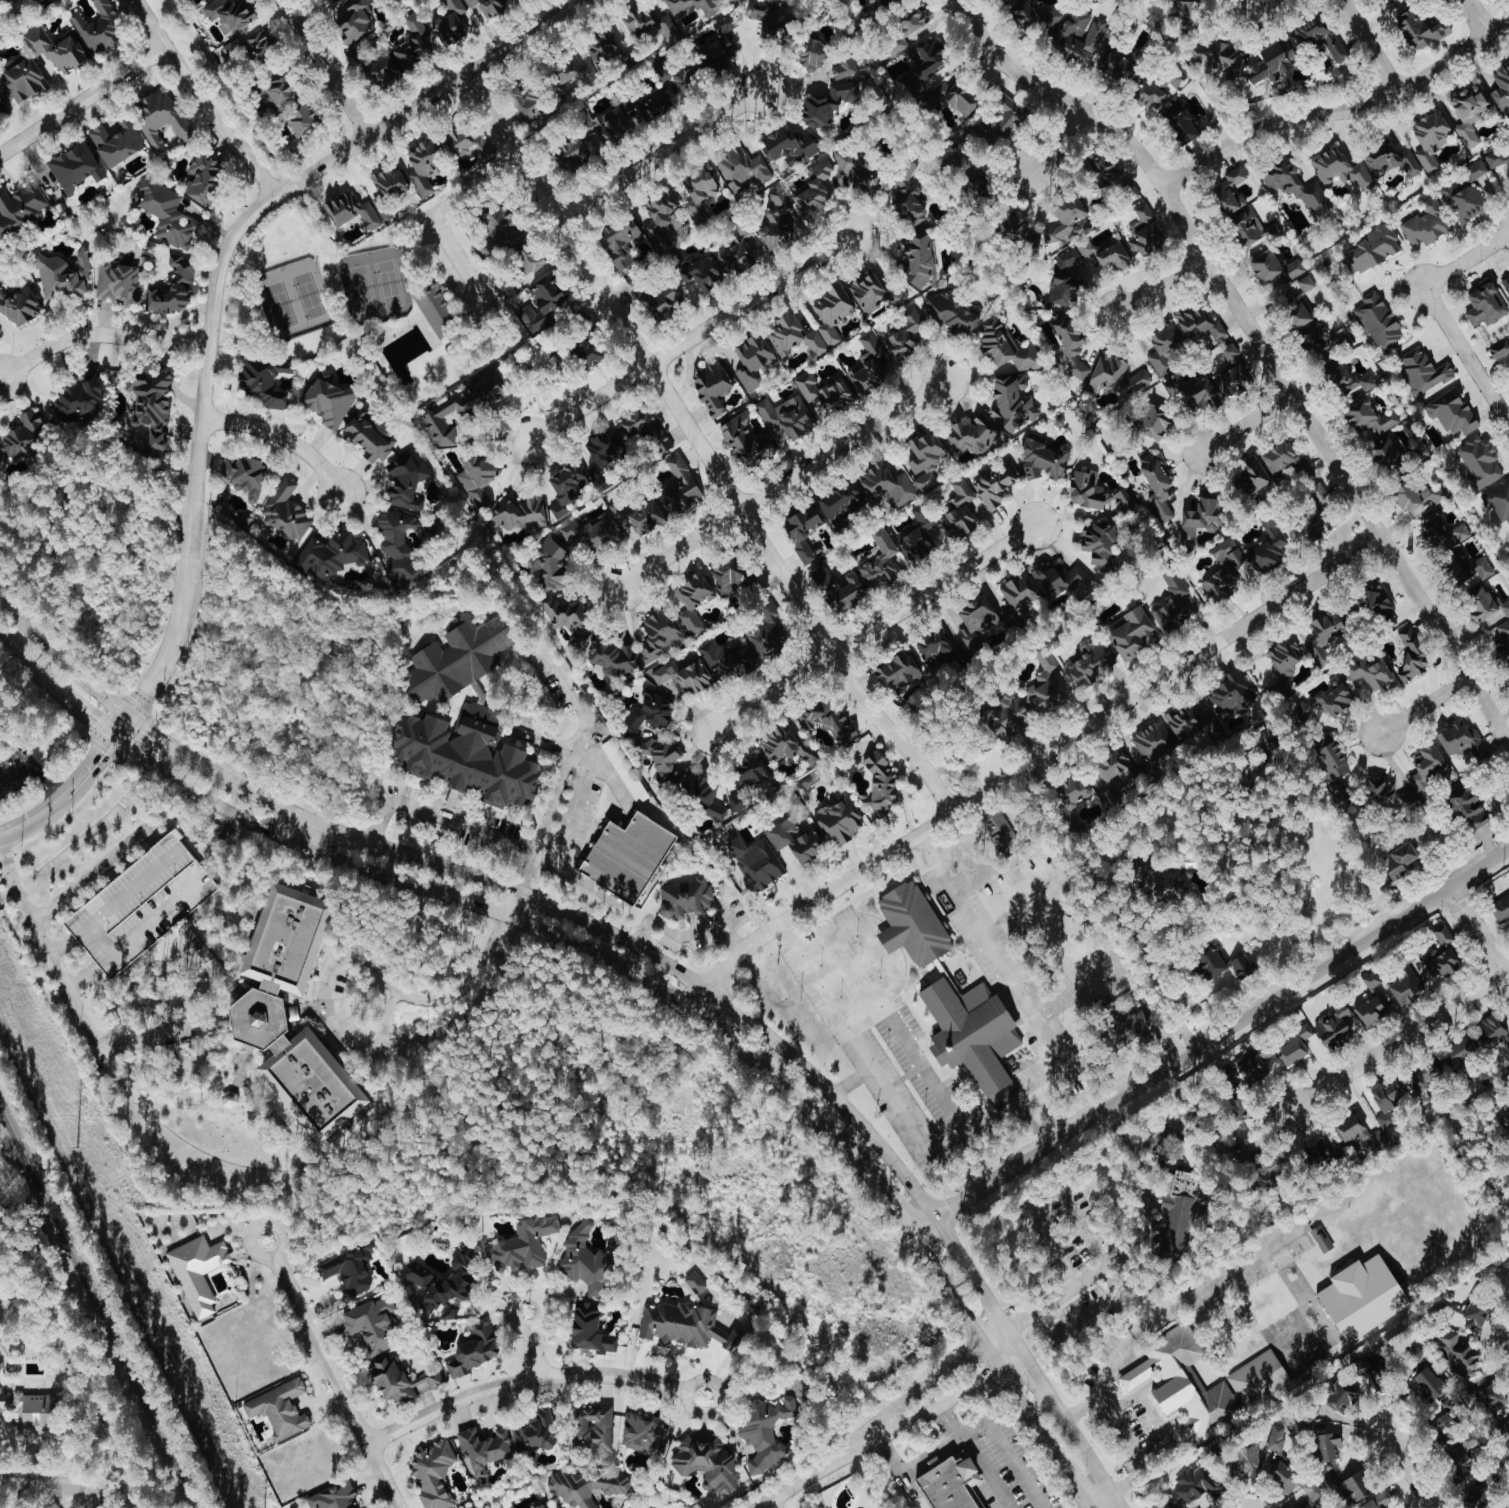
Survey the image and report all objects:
building: (324, 0)
building: (334, 0)
building: (341, 0)
building: (197, 1)
building: (1399, 1)
building: (7, 2)
road: (1257, 2)
building: (488, 6)
building: (882, 7)
building: (707, 8)
building: (229, 14)
building: (1036, 15)
road: (1477, 18)
building: (915, 19)
building: (353, 20)
building: (638, 21)
building: (773, 21)
building: (451, 23)
building: (99, 28)
building: (1420, 29)
building: (1080, 33)
building: (1321, 37)
building: (411, 43)
building: (721, 43)
building: (901, 44)
building: (602, 45)
road: (1372, 46)
building: (55, 48)
building: (249, 49)
building: (813, 55)
building: (1219, 58)
building: (356, 61)
building: (1275, 61)
building: (1118, 66)
road: (323, 68)
building: (844, 69)
building: (384, 70)
building: (567, 71)
building: (688, 78)
building: (21, 80)
building: (282, 87)
building: (1151, 95)
building: (955, 96)
road: (428, 97)
road: (82, 100)
road: (200, 100)
building: (529, 103)
building: (828, 104)
building: (1, 108)
road: (1337, 110)
building: (1470, 113)
building: (160, 117)
building: (303, 121)
building: (1182, 122)
building: (1000, 124)
building: (609, 128)
building: (1430, 139)
building: (116, 143)
building: (466, 144)
road: (1060, 144)
building: (788, 147)
building: (572, 151)
road: (660, 152)
building: (1389, 159)
building: (1497, 160)
building: (423, 165)
building: (73, 167)
building: (740, 169)
building: (857, 170)
building: (1340, 170)
building: (1473, 171)
building: (1108, 175)
building: (970, 176)
building: (204, 179)
road: (476, 180)
building: (389, 183)
building: (1296, 186)
building: (816, 188)
building: (1230, 189)
building: (699, 191)
building: (907, 197)
building: (1463, 202)
building: (20, 208)
building: (351, 212)
building: (166, 213)
building: (662, 217)
building: (1065, 220)
building: (777, 222)
building: (502, 223)
building: (1426, 225)
building: (1014, 227)
building: (1251, 228)
building: (1146, 230)
building: (622, 240)
building: (1372, 250)
building: (1106, 253)
building: (738, 254)
building: (528, 257)
building: (920, 258)
parking lot: (452, 266)
building: (1275, 268)
building: (706, 273)
building: (63, 277)
building: (1064, 282)
park: (389, 283)
road: (1161, 284)
building: (1505, 284)
building: (173, 288)
park: (361, 288)
building: (639, 291)
park: (380, 292)
building: (875, 293)
park: (308, 294)
building: (436, 299)
building: (666, 301)
building: (1296, 302)
park: (280, 304)
building: (19, 305)
building: (1486, 305)
building: (831, 313)
road: (1437, 313)
building: (951, 316)
building: (1378, 320)
building: (1199, 324)
road: (99, 333)
building: (794, 335)
building: (905, 336)
road: (692, 337)
road: (1261, 343)
building: (1320, 343)
building: (1070, 345)
building: (591, 347)
building: (1006, 348)
building: (1499, 349)
building: (1163, 351)
building: (1230, 354)
building: (752, 361)
building: (870, 367)
building: (1422, 371)
building: (1233, 380)
building: (265, 382)
building: (1348, 382)
building: (713, 387)
building: (1193, 393)
building: (80, 397)
building: (327, 399)
building: (150, 402)
building: (1012, 402)
road: (203, 406)
building: (463, 407)
building: (1451, 412)
building: (787, 418)
building: (1370, 419)
road: (1248, 422)
building: (1155, 423)
building: (644, 428)
road: (280, 435)
building: (970, 435)
building: (26, 436)
building: (368, 436)
building: (745, 441)
road: (703, 447)
building: (1388, 457)
building: (604, 458)
building: (925, 458)
building: (1044, 460)
building: (1286, 460)
building: (1479, 462)
building: (1254, 473)
building: (243, 475)
building: (476, 477)
building: (406, 482)
road: (784, 483)
building: (886, 484)
building: (994, 486)
building: (1157, 486)
building: (566, 488)
building: (680, 488)
building: (1086, 490)
building: (1315, 495)
building: (1418, 498)
building: (1121, 501)
building: (1497, 502)
building: (839, 505)
building: (959, 510)
building: (285, 514)
building: (520, 514)
building: (638, 517)
building: (1201, 518)
building: (1317, 525)
building: (803, 532)
building: (1441, 532)
building: (592, 535)
building: (917, 537)
building: (403, 543)
building: (1269, 546)
building: (1101, 547)
building: (1227, 554)
building: (330, 555)
building: (880, 563)
building: (554, 566)
building: (1468, 571)
building: (730, 575)
building: (1063, 580)
building: (1222, 585)
building: (840, 591)
building: (1017, 597)
building: (690, 602)
building: (1373, 603)
building: (1174, 604)
building: (1486, 606)
building: (567, 615)
building: (977, 623)
road: (874, 627)
building: (1328, 629)
building: (768, 632)
building: (659, 634)
building: (1132, 634)
road: (5, 642)
building: (1503, 643)
building: (941, 651)
building: (1317, 654)
building: (1285, 656)
building: (1412, 656)
building: (456, 657)
building: (612, 657)
road: (61, 659)
building: (728, 659)
building: (1090, 664)
road: (30, 666)
building: (1370, 673)
building: (684, 676)
road: (154, 677)
building: (1045, 684)
building: (1230, 695)
building: (1334, 698)
traffic signals: (137, 701)
road: (1425, 705)
road: (80, 710)
building: (649, 712)
building: (1007, 718)
building: (827, 721)
traffic signals: (95, 723)
road: (119, 724)
building: (1193, 724)
traffic signals: (147, 728)
park: (32, 739)
building: (1462, 741)
building: (1152, 743)
building: (788, 745)
road: (175, 746)
traffic signals: (101, 751)
building: (469, 753)
road: (1029, 762)
building: (662, 763)
road: (33, 766)
building: (1333, 766)
parking lot: (13, 768)
building: (751, 770)
building: (1427, 770)
road: (87, 771)
building: (1114, 778)
road: (562, 779)
building: (881, 784)
building: (702, 795)
building: (1390, 796)
building: (1072, 798)
building: (737, 803)
road: (574, 805)
building: (1469, 808)
road: (294, 814)
road: (441, 814)
building: (839, 821)
road: (30, 822)
road: (303, 831)
building: (1001, 834)
road: (276, 835)
building: (795, 840)
road: (545, 853)
building: (628, 858)
building: (1399, 860)
building: (757, 862)
road: (90, 875)
building: (1164, 883)
road: (1094, 885)
building: (686, 892)
road: (1002, 893)
parking lot: (139, 900)
road: (511, 902)
road: (482, 903)
building: (1501, 909)
building: (912, 925)
road: (686, 927)
building: (1443, 936)
road: (1477, 940)
road: (622, 955)
building: (1209, 962)
building: (1444, 962)
road: (367, 964)
building: (1242, 968)
road: (464, 979)
building: (1370, 979)
road: (1010, 981)
road: (1157, 985)
road: (66, 987)
building: (1405, 990)
road: (1070, 992)
road: (469, 1004)
building: (293, 1011)
building: (1371, 1013)
road: (837, 1014)
road: (753, 1026)
building: (1131, 1026)
building: (1334, 1027)
building: (971, 1029)
building: (1491, 1032)
road: (1212, 1039)
road: (1402, 1040)
building: (1294, 1047)
building: (1463, 1052)
road: (921, 1057)
building: (1257, 1065)
building: (1425, 1078)
building: (1387, 1104)
road: (827, 1106)
building: (1243, 1111)
road: (833, 1128)
building: (1359, 1136)
building: (1227, 1139)
power tower: (77, 1150)
building: (1272, 1179)
road: (1053, 1194)
building: (1178, 1209)
parking lot: (1061, 1228)
building: (1321, 1239)
building: (522, 1246)
road: (1135, 1246)
building: (588, 1259)
building: (349, 1269)
building: (197, 1272)
park: (1500, 1278)
building: (694, 1282)
building: (440, 1284)
building: (1361, 1294)
road: (1098, 1307)
railway: (98, 1308)
building: (1477, 1312)
road: (1164, 1315)
parking lot: (1086, 1317)
building: (372, 1324)
building: (682, 1326)
building: (589, 1329)
road: (532, 1344)
building: (474, 1350)
building: (1470, 1369)
building: (1380, 1373)
road: (332, 1374)
road: (937, 1376)
road: (531, 1379)
building: (399, 1380)
building: (1259, 1380)
road: (1040, 1381)
building: (1430, 1384)
road: (951, 1397)
building: (1341, 1397)
building: (279, 1410)
building: (34, 1411)
road: (948, 1424)
building: (592, 1430)
road: (1164, 1431)
building: (534, 1432)
building: (764, 1433)
building: (644, 1434)
building: (1323, 1437)
road: (1124, 1438)
building: (1275, 1438)
building: (1453, 1439)
road: (948, 1446)
building: (483, 1448)
road: (1083, 1448)
building: (1246, 1459)
building: (707, 1462)
parking lot: (1003, 1466)
road: (816, 1469)
road: (1406, 1472)
building: (433, 1474)
building: (1284, 1476)
road: (1073, 1480)
building: (948, 1482)
building: (1197, 1483)
building: (585, 1487)
building: (1355, 1487)
road: (61, 1492)
road: (134, 1497)
building: (333, 1497)
road: (1100, 1499)
road: (98, 1500)
road: (1115, 1500)
building: (1308, 1501)
building: (1487, 1501)
building: (1375, 1502)
building: (536, 1504)
road: (767, 1505)
building: (510, 1507)
building: (632, 1507)
road: (1088, 1507)
road: (1089, 1507)

